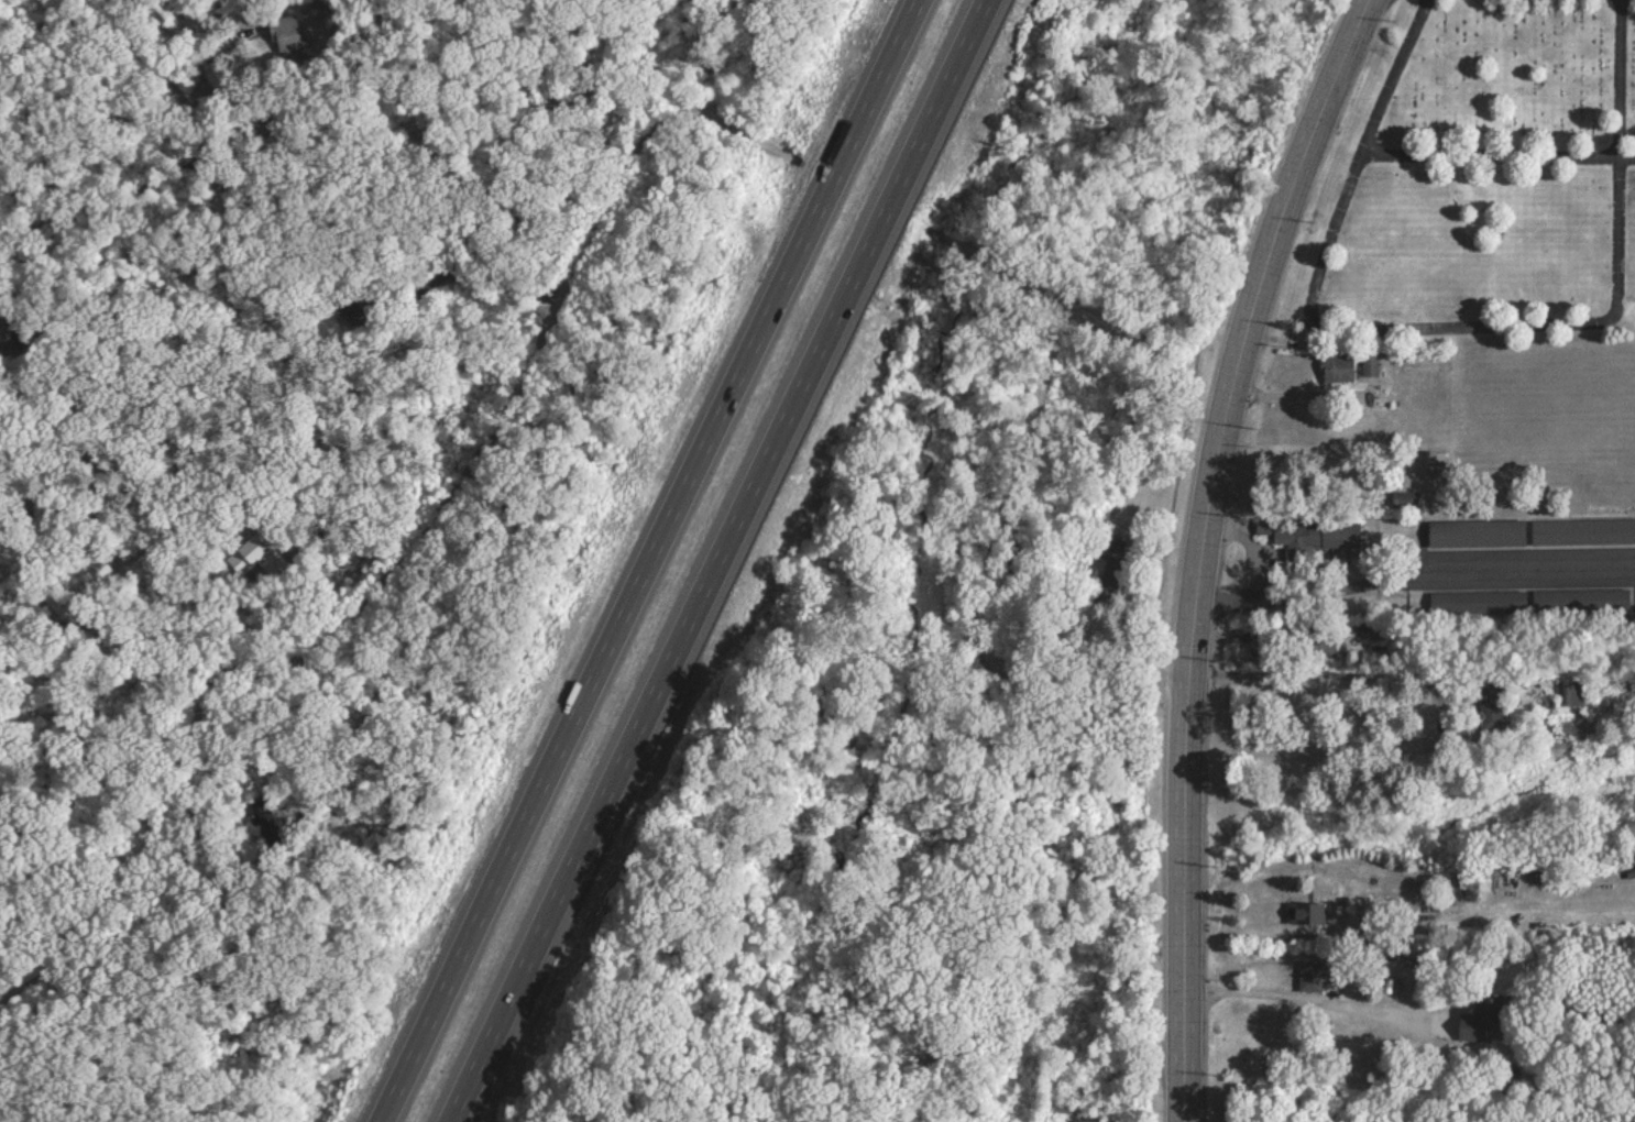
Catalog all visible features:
road: (1500, 3)
building: (288, 35)
road: (206, 74)
road: (740, 134)
road: (1492, 170)
park: (1473, 187)
road: (311, 188)
building: (7, 337)
road: (1439, 343)
building: (1368, 364)
building: (1336, 367)
building: (1431, 461)
building: (1404, 498)
road: (994, 520)
building: (1582, 530)
building: (1475, 531)
building: (1313, 535)
road: (1250, 543)
road: (1201, 548)
building: (265, 550)
building: (1111, 557)
road: (709, 560)
road: (636, 561)
road: (1414, 573)
road: (359, 593)
building: (1571, 599)
building: (1486, 601)
building: (1320, 645)
road: (1321, 674)
building: (1305, 912)
building: (1308, 976)
road: (1312, 1001)
building: (1480, 1016)

